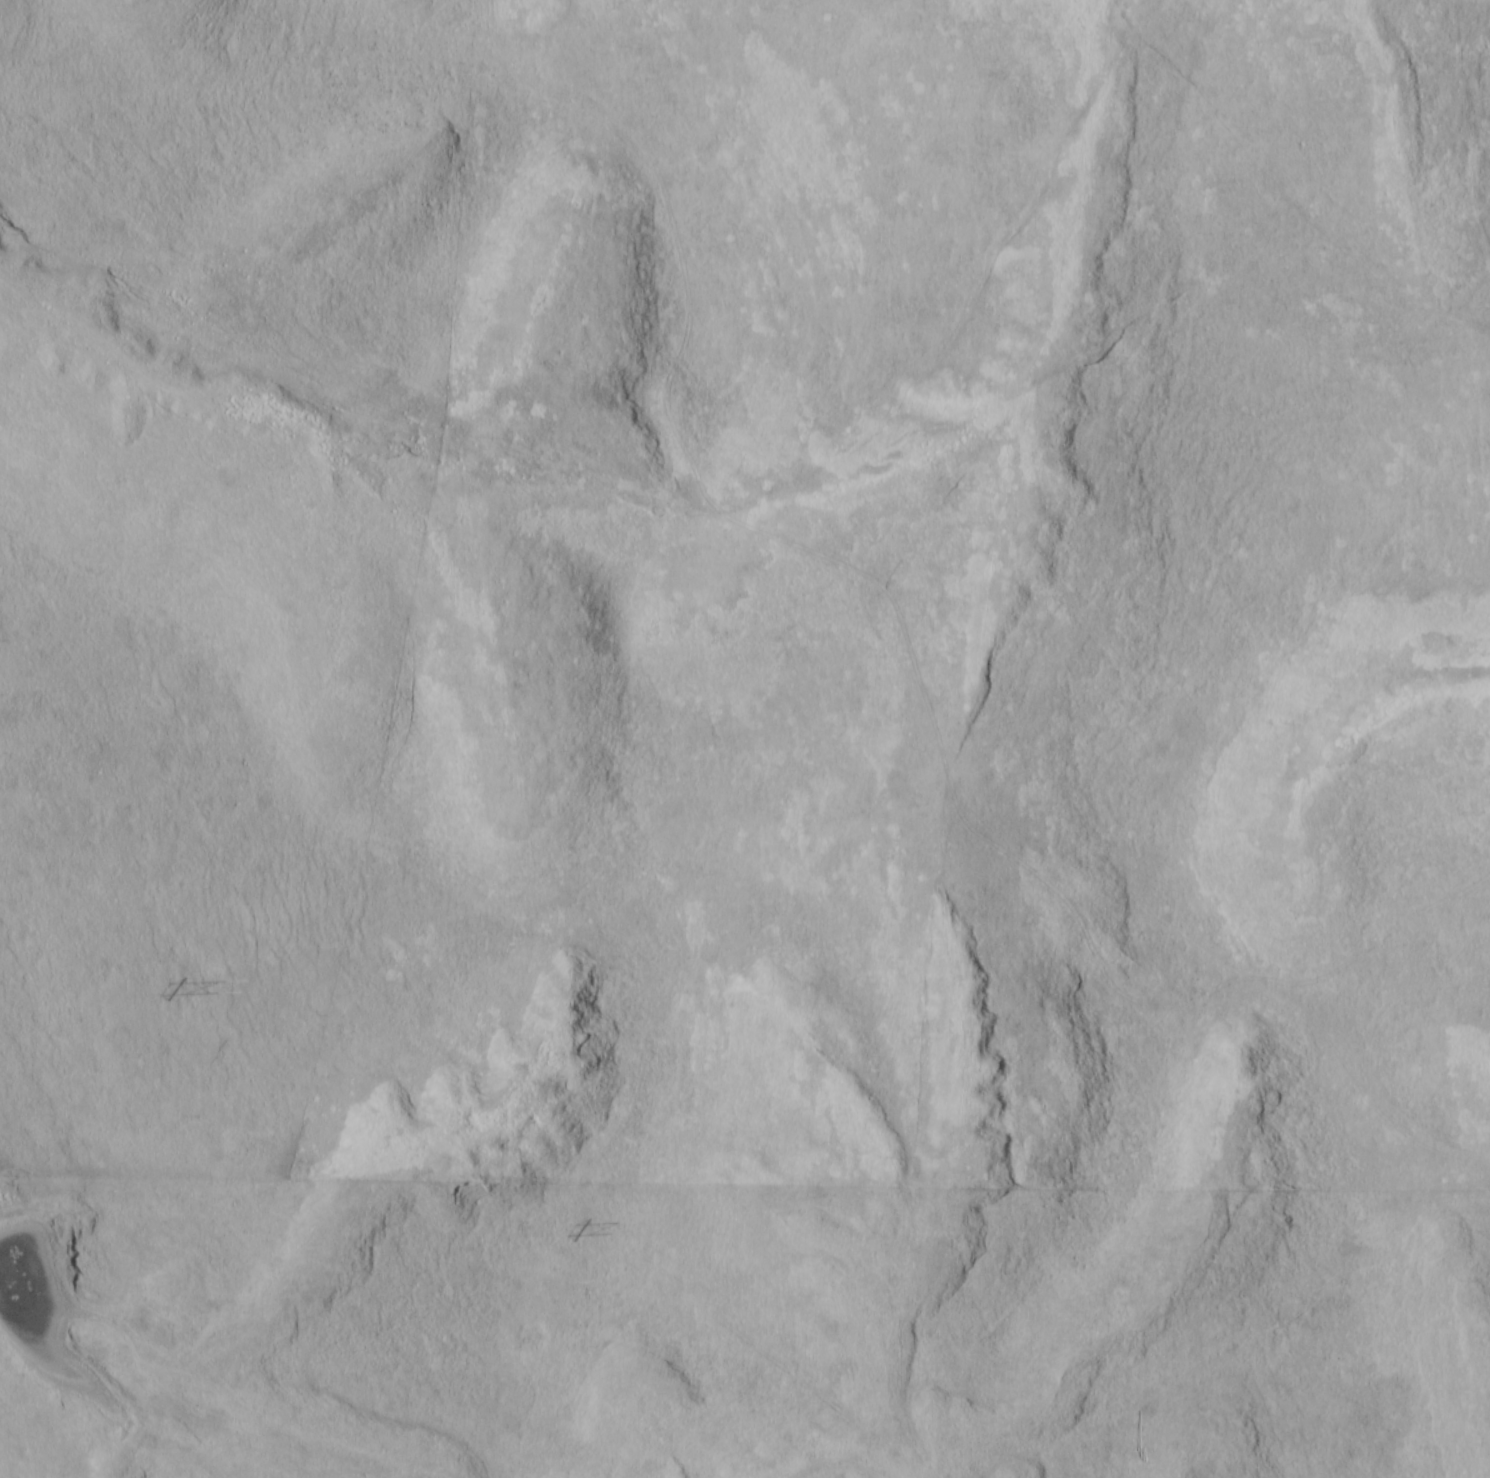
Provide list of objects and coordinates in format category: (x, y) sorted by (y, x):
power tower: (240, 989)
power tower: (630, 1228)

